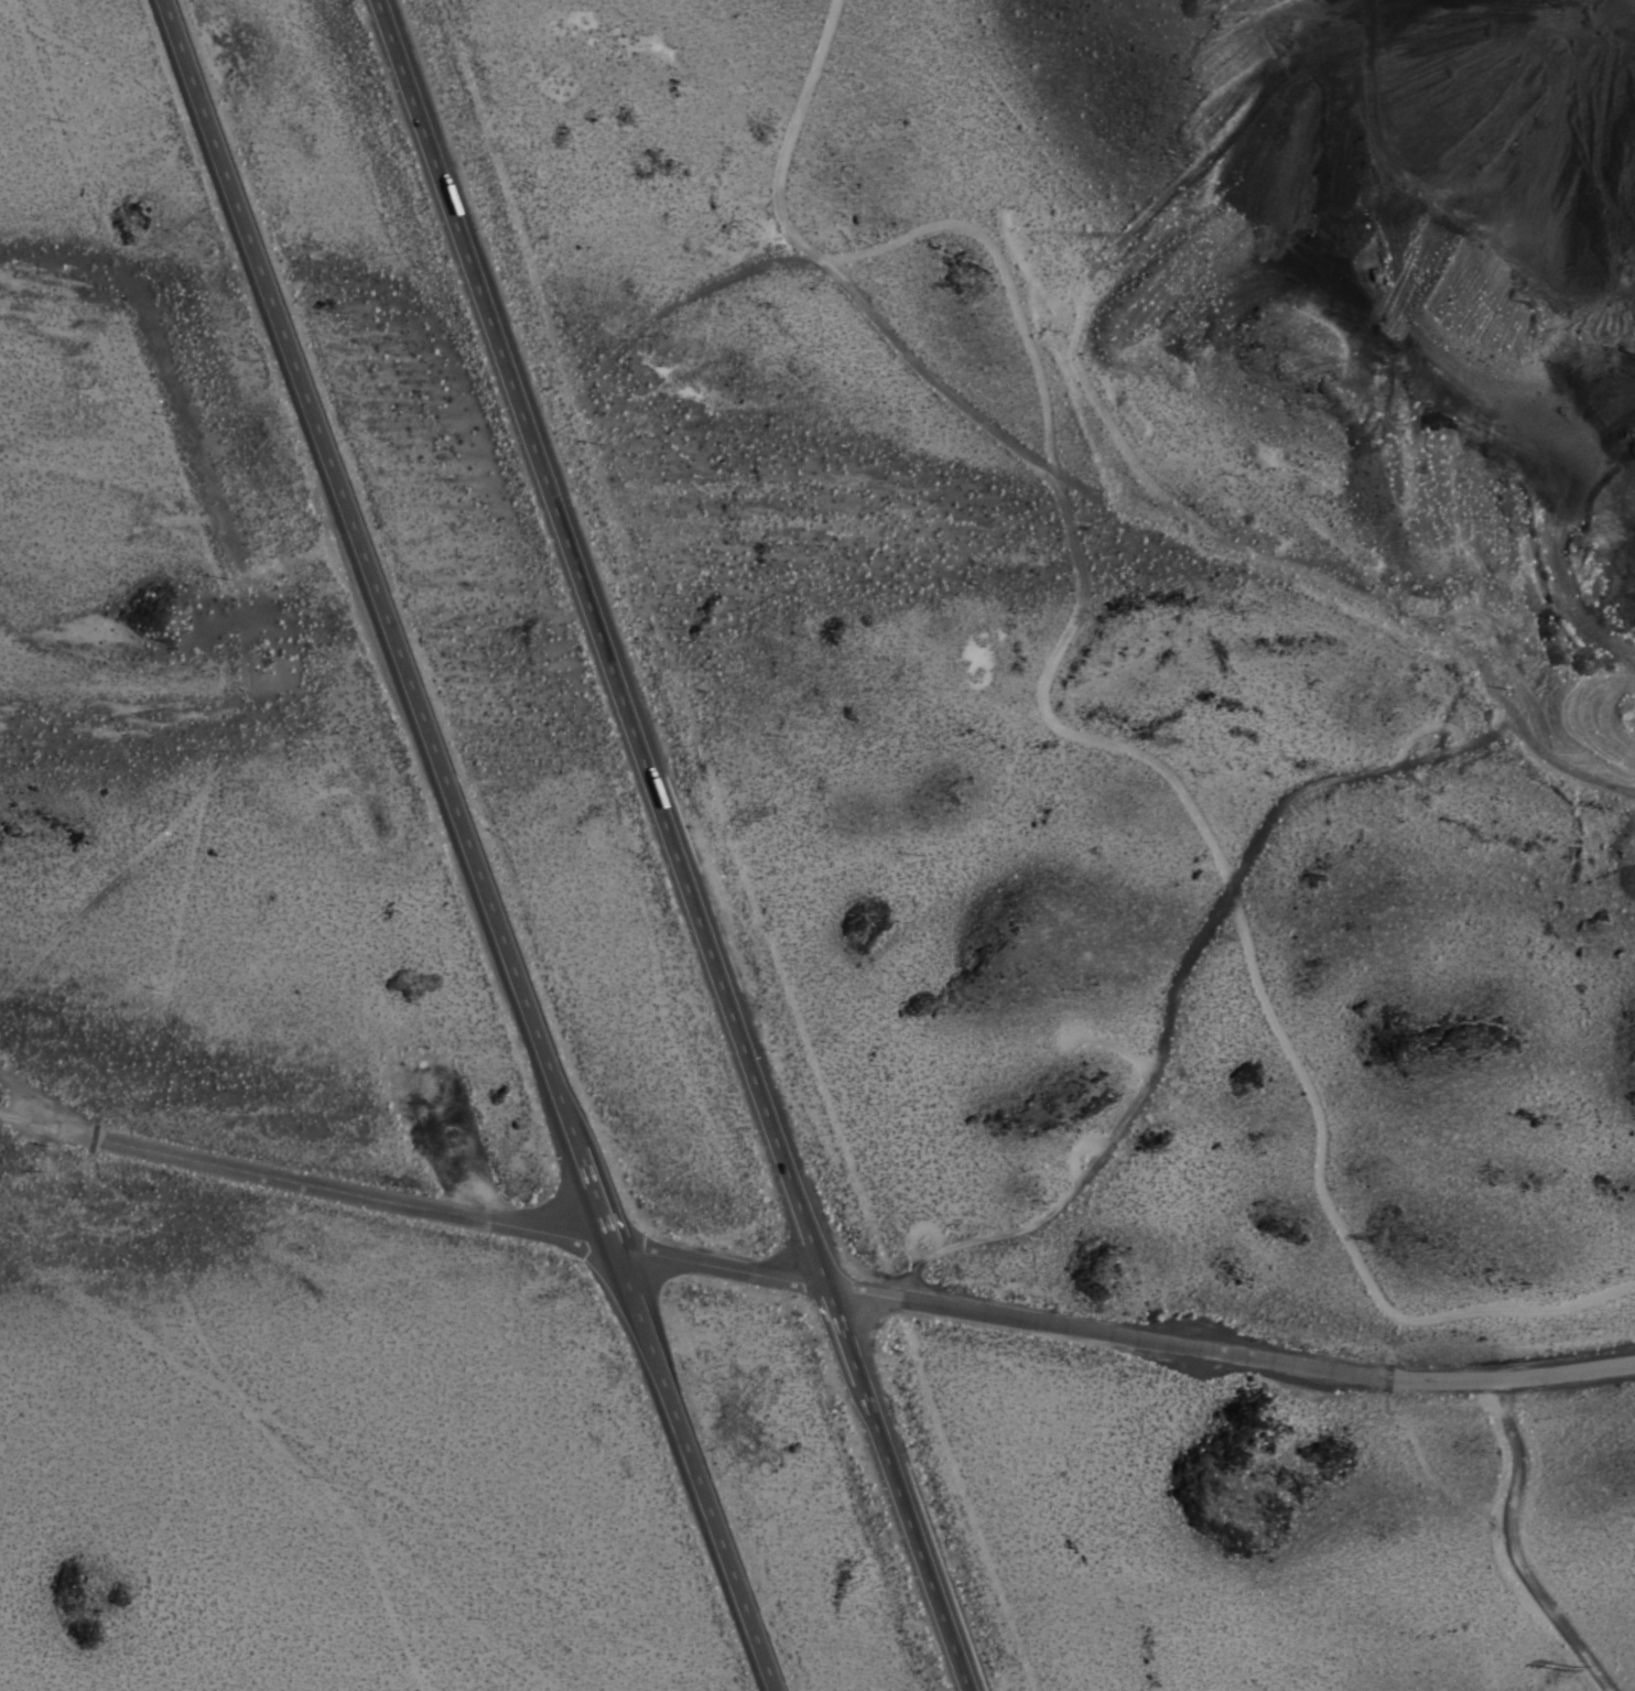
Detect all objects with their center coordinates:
road: (107, 73)
road: (788, 138)
road: (702, 289)
power tower: (968, 290)
road: (948, 397)
road: (1064, 520)
road: (369, 573)
road: (603, 642)
road: (1425, 728)
power tower: (1160, 734)
road: (1176, 978)
road: (1116, 1047)
road: (45, 1106)
road: (46, 1127)
road: (594, 1194)
road: (1336, 1223)
road: (938, 1238)
power tower: (1385, 1244)
road: (860, 1291)
road: (845, 1334)
road: (692, 1467)
road: (916, 1537)
power tower: (1564, 1672)

